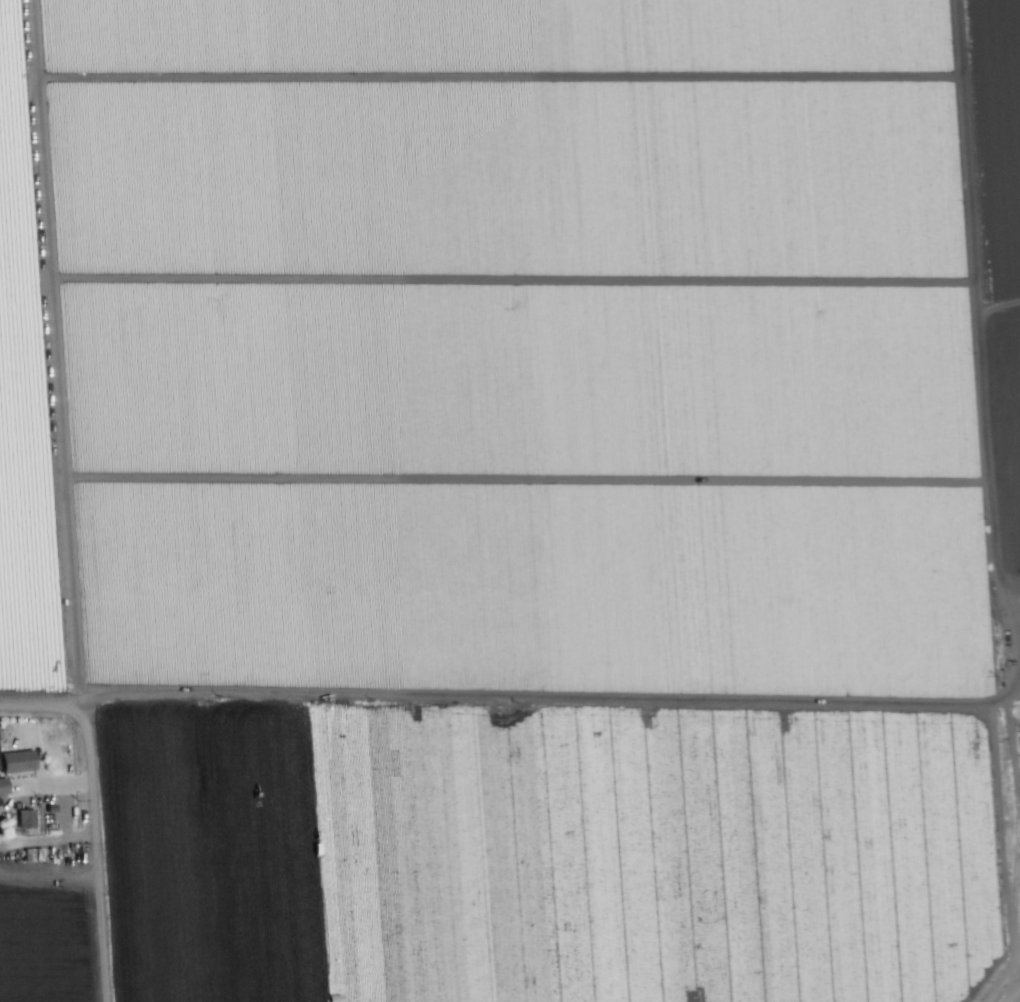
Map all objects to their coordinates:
road: (58, 354)
crop: (509, 500)
road: (509, 696)
building: (16, 760)
road: (1016, 815)
building: (24, 818)
road: (1001, 841)
road: (94, 854)
road: (1016, 997)

